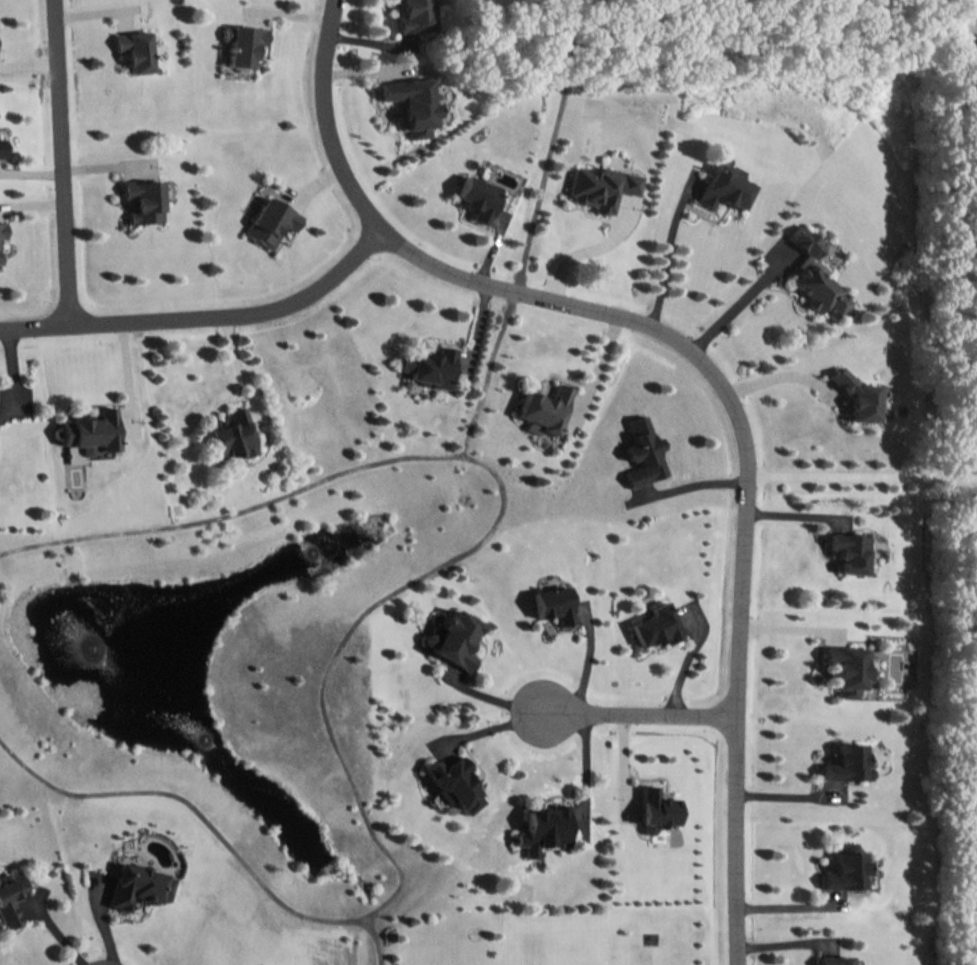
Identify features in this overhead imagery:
building: (413, 15)
building: (241, 43)
building: (132, 50)
building: (412, 104)
road: (324, 121)
building: (0, 147)
road: (58, 161)
building: (600, 186)
building: (724, 186)
road: (541, 187)
building: (477, 198)
building: (141, 200)
building: (269, 222)
building: (2, 229)
road: (579, 255)
road: (667, 261)
building: (814, 275)
road: (738, 307)
road: (204, 313)
road: (598, 365)
building: (429, 367)
road: (244, 368)
road: (9, 369)
road: (488, 372)
road: (780, 374)
building: (856, 395)
building: (543, 410)
building: (86, 434)
building: (230, 434)
building: (642, 453)
road: (860, 474)
road: (692, 481)
road: (744, 481)
building: (849, 551)
building: (551, 604)
building: (654, 625)
road: (793, 625)
road: (346, 636)
building: (453, 638)
road: (586, 660)
building: (846, 669)
road: (493, 698)
road: (641, 714)
road: (492, 727)
building: (846, 763)
road: (622, 764)
road: (584, 767)
building: (454, 783)
road: (789, 787)
building: (656, 809)
building: (543, 829)
building: (845, 867)
building: (135, 885)
building: (8, 899)
road: (785, 903)
road: (57, 937)
road: (375, 940)
building: (834, 960)

